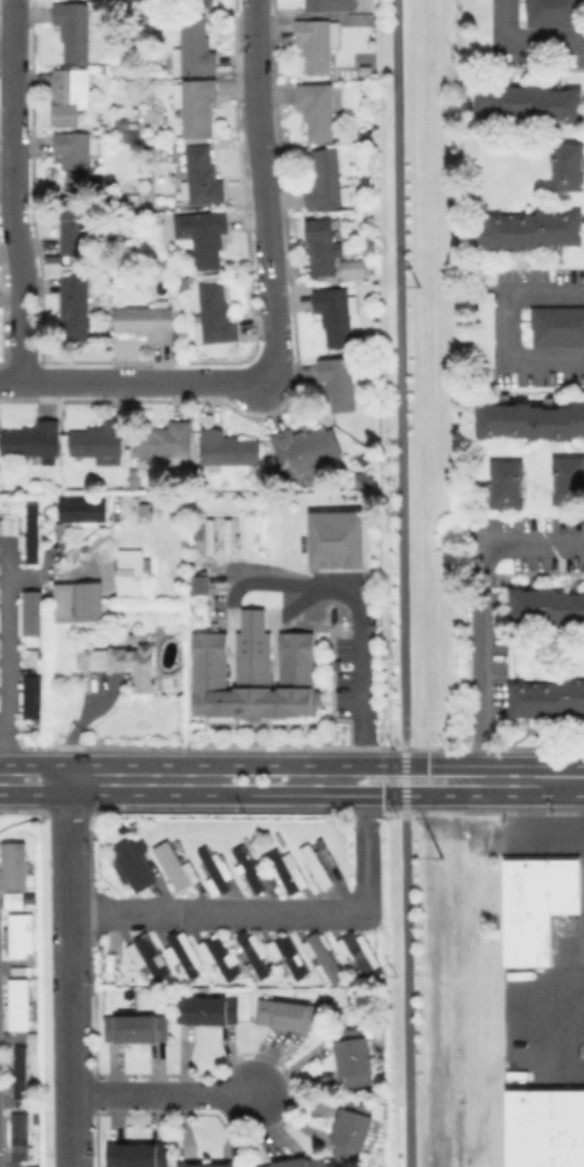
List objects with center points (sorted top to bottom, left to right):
building: (202, 2)
building: (334, 5)
building: (555, 12)
building: (485, 23)
building: (74, 28)
building: (319, 41)
road: (525, 42)
building: (195, 46)
building: (70, 93)
building: (532, 102)
building: (198, 105)
building: (318, 110)
building: (128, 127)
building: (77, 156)
building: (568, 166)
building: (203, 177)
building: (326, 180)
road: (11, 190)
road: (264, 197)
building: (76, 225)
building: (532, 229)
building: (203, 236)
building: (372, 242)
building: (323, 246)
building: (353, 266)
building: (76, 306)
building: (216, 315)
building: (340, 317)
building: (149, 320)
road: (505, 324)
building: (559, 326)
building: (487, 328)
road: (400, 373)
building: (342, 379)
road: (132, 384)
building: (531, 420)
building: (34, 441)
building: (99, 441)
building: (166, 441)
building: (229, 448)
building: (308, 450)
building: (132, 477)
building: (569, 479)
building: (225, 484)
building: (507, 485)
building: (200, 506)
building: (145, 510)
building: (81, 512)
building: (25, 529)
building: (335, 539)
building: (133, 571)
building: (197, 583)
building: (80, 600)
building: (548, 607)
road: (475, 608)
building: (33, 613)
road: (355, 623)
building: (34, 657)
road: (12, 661)
building: (143, 662)
building: (256, 680)
building: (33, 696)
building: (548, 699)
road: (339, 765)
road: (405, 776)
road: (100, 778)
road: (530, 780)
road: (339, 794)
road: (554, 824)
building: (11, 864)
building: (133, 864)
building: (175, 867)
building: (248, 868)
building: (316, 868)
building: (287, 869)
building: (215, 870)
building: (537, 904)
road: (272, 912)
building: (18, 933)
building: (184, 950)
building: (254, 952)
building: (291, 954)
building: (363, 954)
building: (149, 955)
building: (326, 955)
building: (222, 956)
road: (69, 972)
road: (407, 988)
building: (16, 1004)
building: (208, 1010)
building: (293, 1013)
building: (137, 1027)
building: (354, 1054)
building: (17, 1070)
road: (162, 1092)
building: (544, 1128)
building: (353, 1131)
building: (17, 1136)
building: (138, 1154)
building: (299, 1162)
building: (209, 1163)

